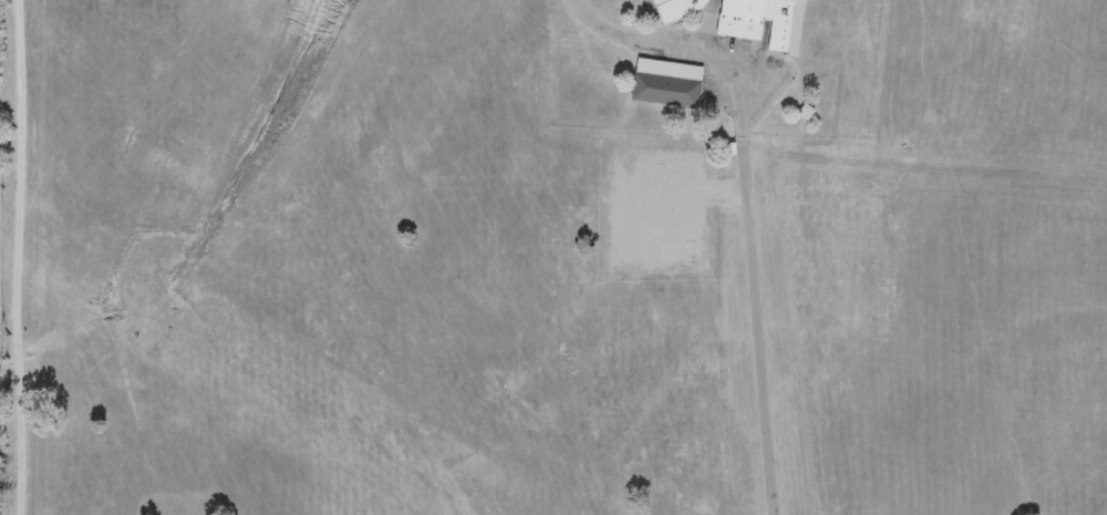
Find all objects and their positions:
building: (679, 9)
building: (757, 21)
building: (668, 85)
road: (694, 193)
road: (748, 202)
road: (18, 257)

